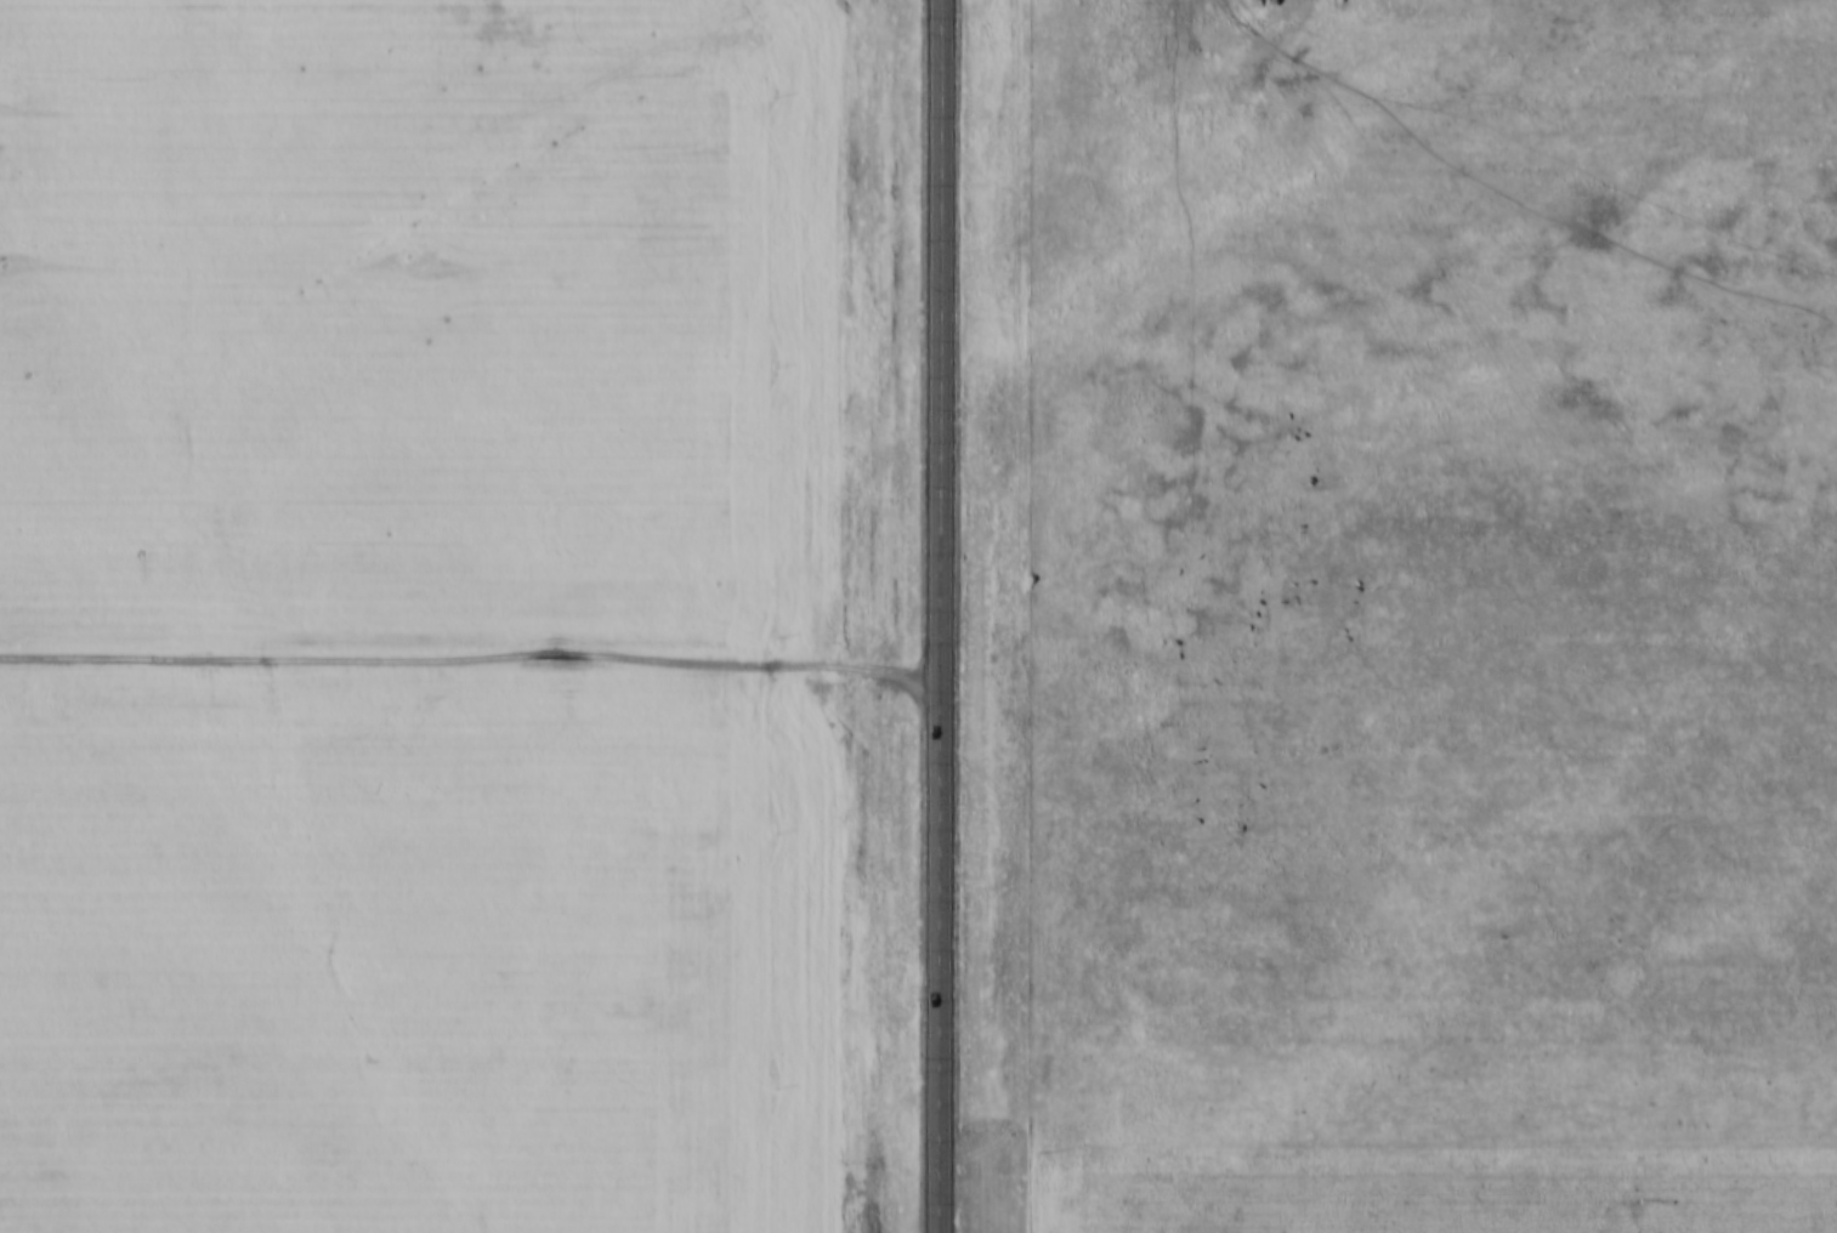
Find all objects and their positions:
road: (945, 615)
crop: (408, 616)
road: (474, 635)

